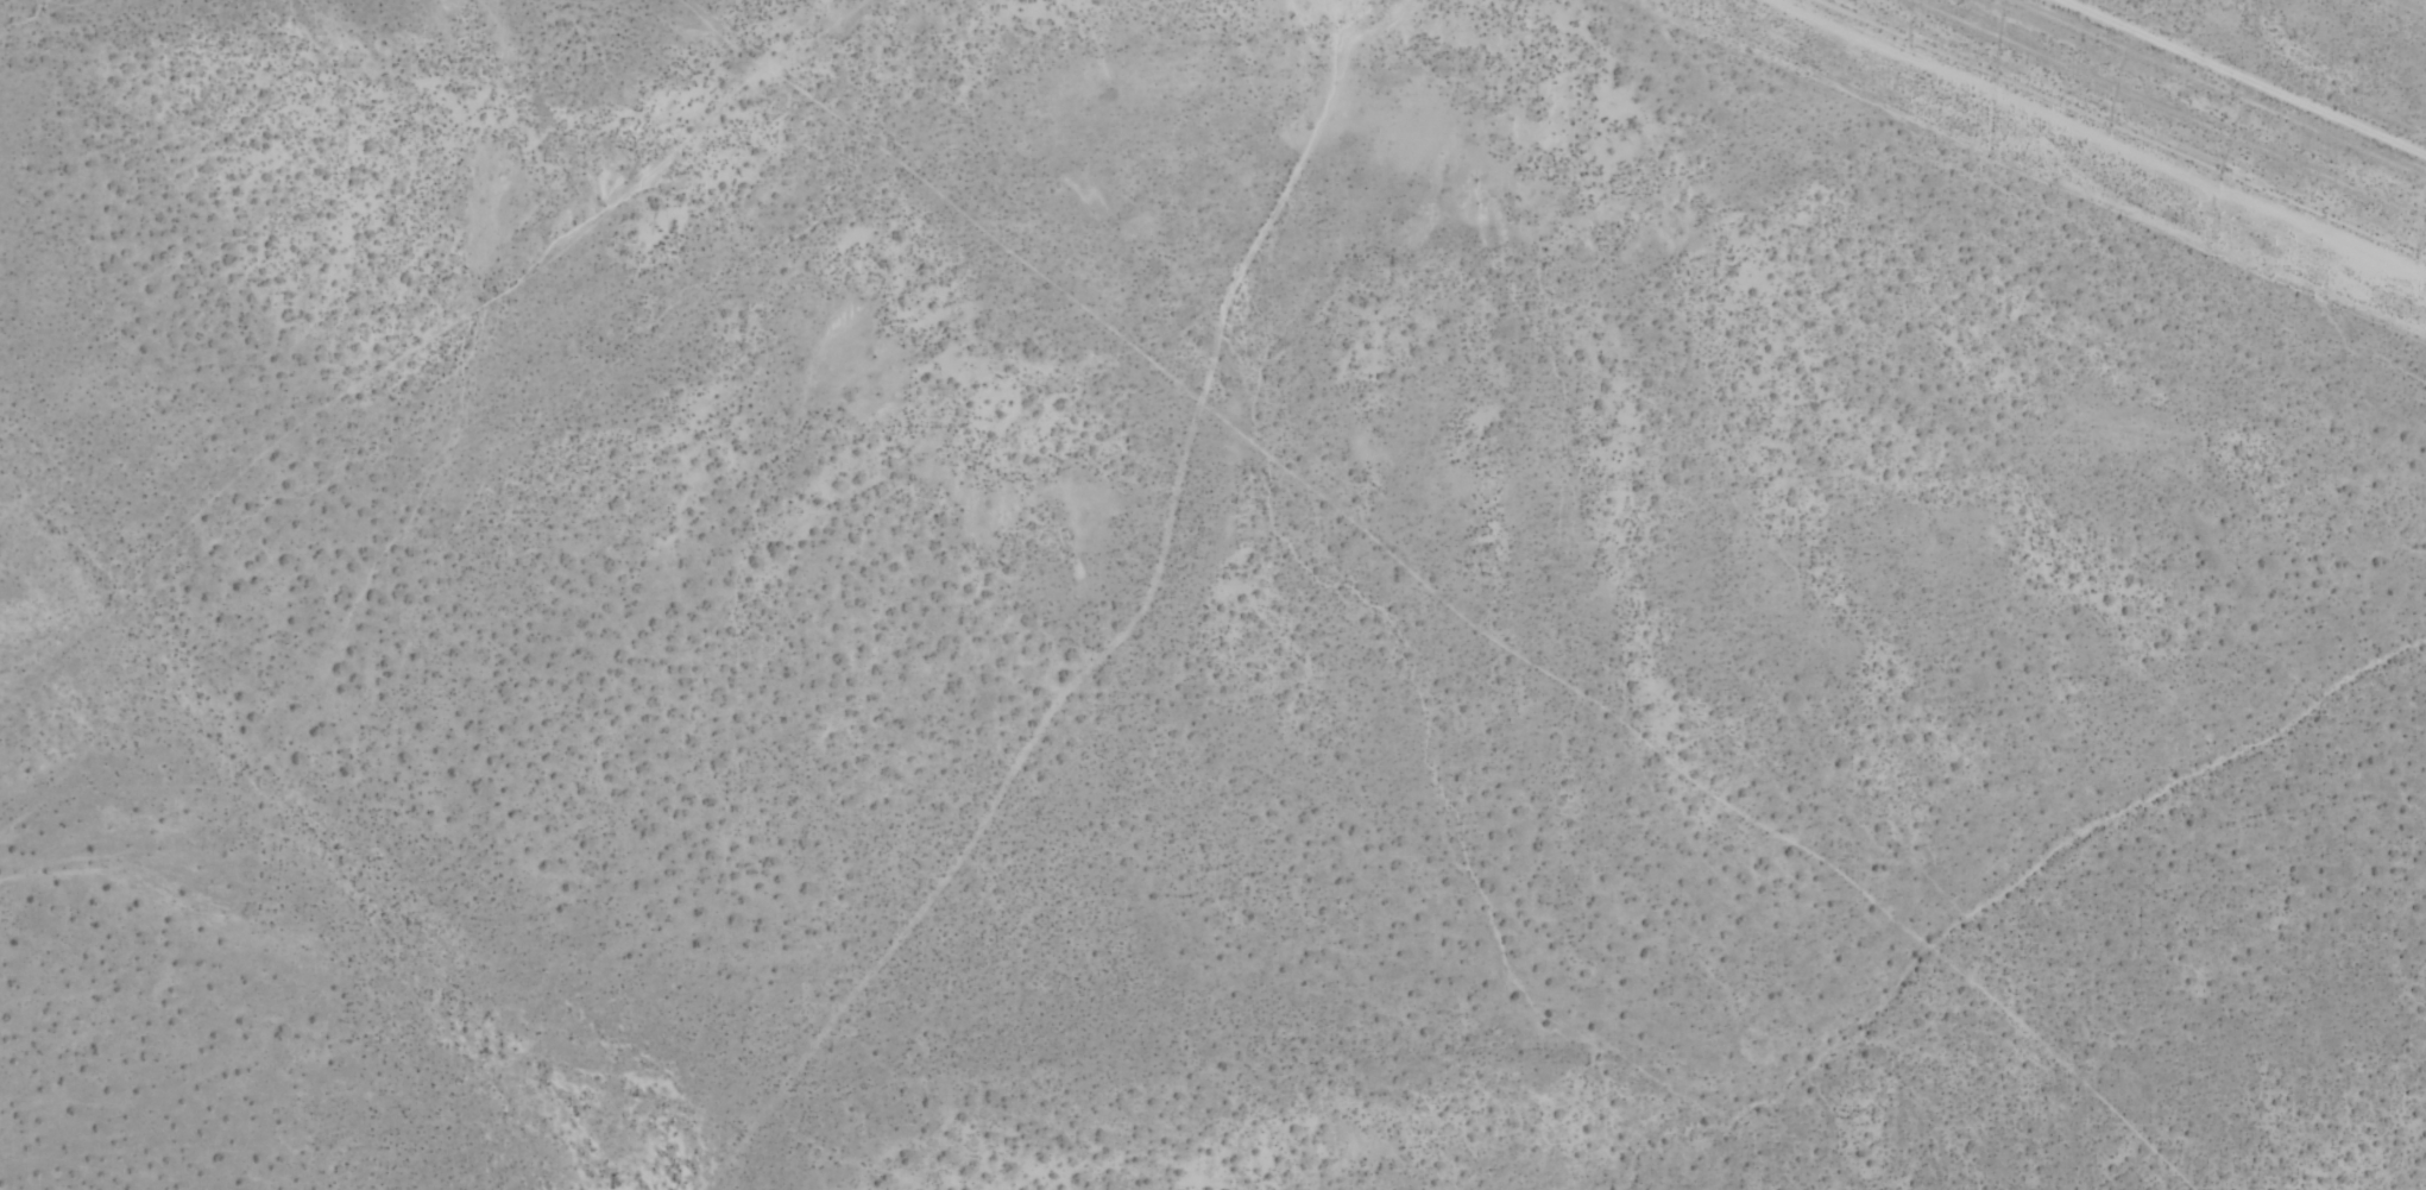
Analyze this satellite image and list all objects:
road: (2242, 78)

